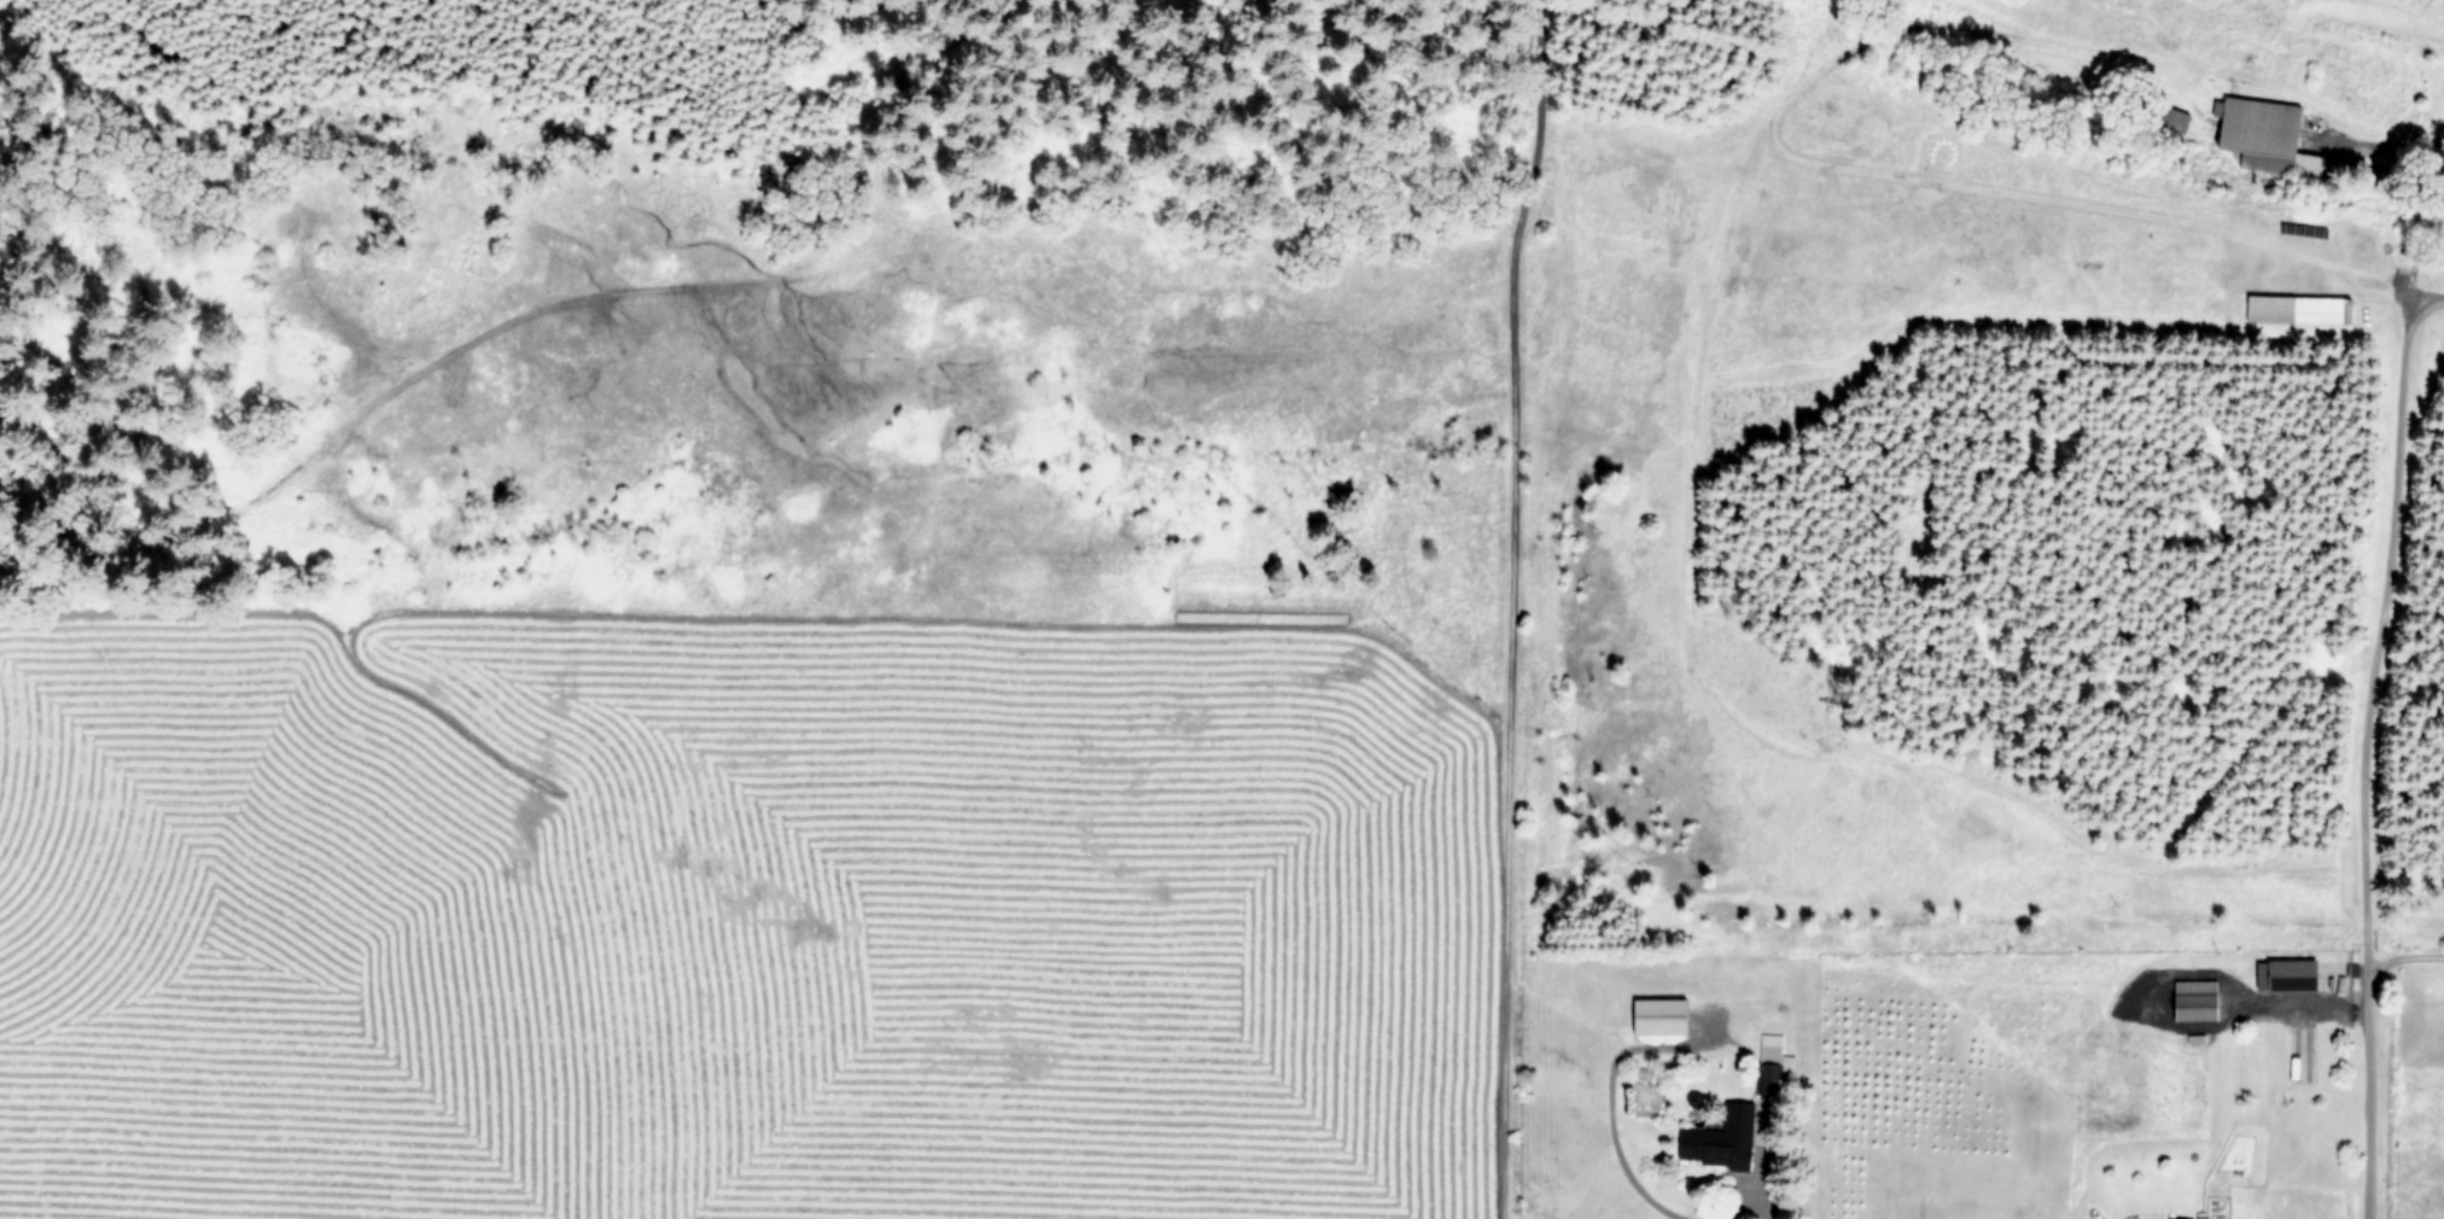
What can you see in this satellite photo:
building: (2259, 129)
building: (2322, 164)
building: (2309, 307)
road: (2421, 308)
road: (1504, 607)
road: (2368, 717)
crop: (714, 908)
road: (2401, 955)
crop: (1925, 969)
building: (2199, 998)
road: (2303, 999)
building: (1663, 1015)
road: (1609, 1108)
building: (1722, 1139)
road: (1748, 1213)
building: (2183, 1218)

